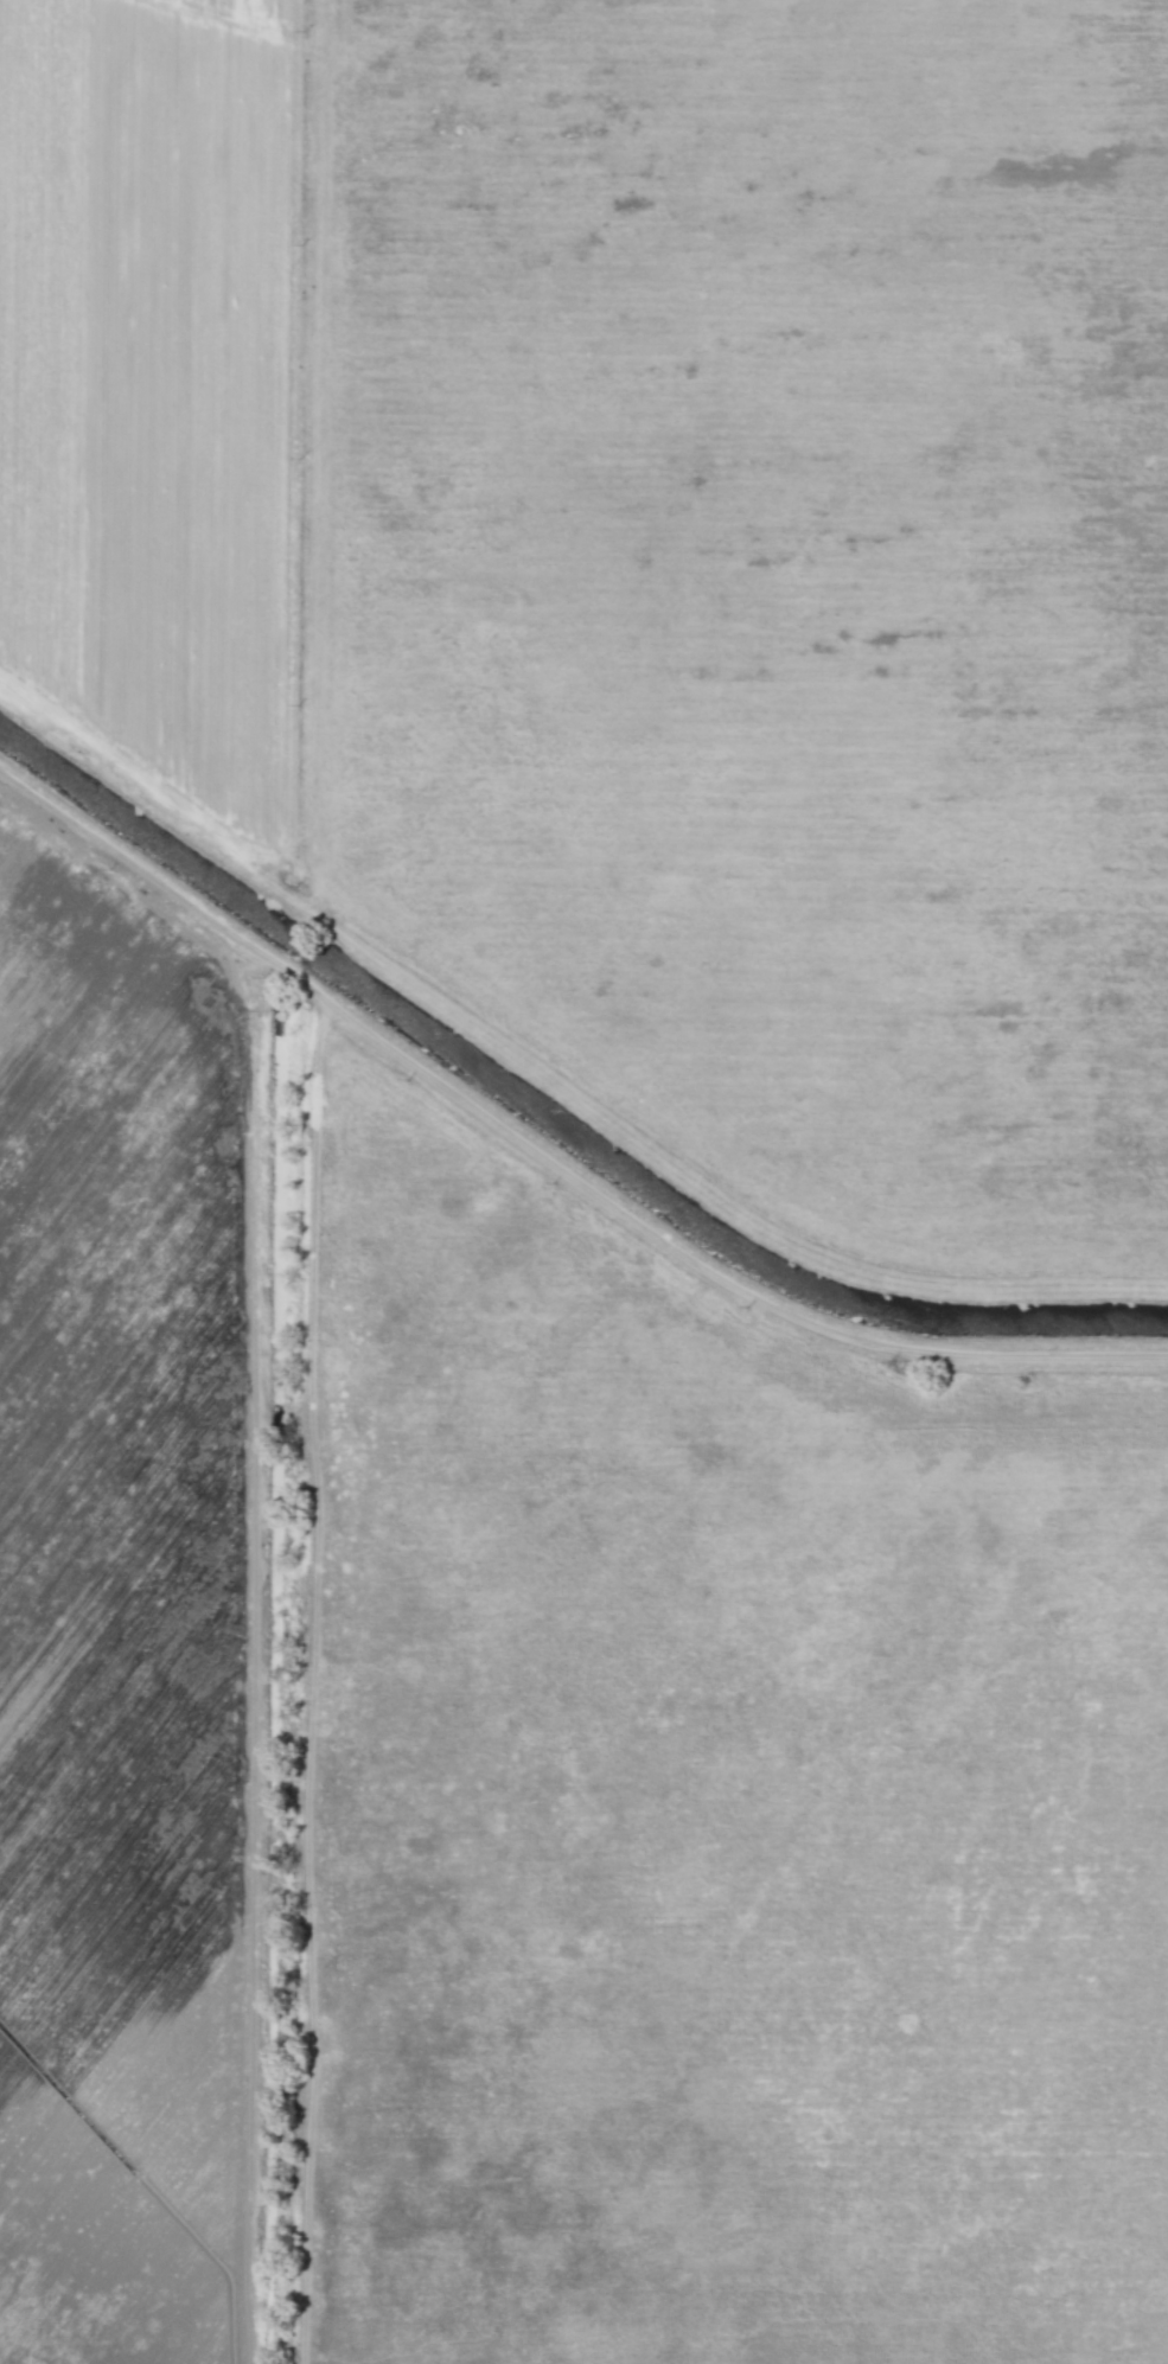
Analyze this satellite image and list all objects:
crop: (159, 398)
crop: (761, 590)
crop: (134, 1606)

